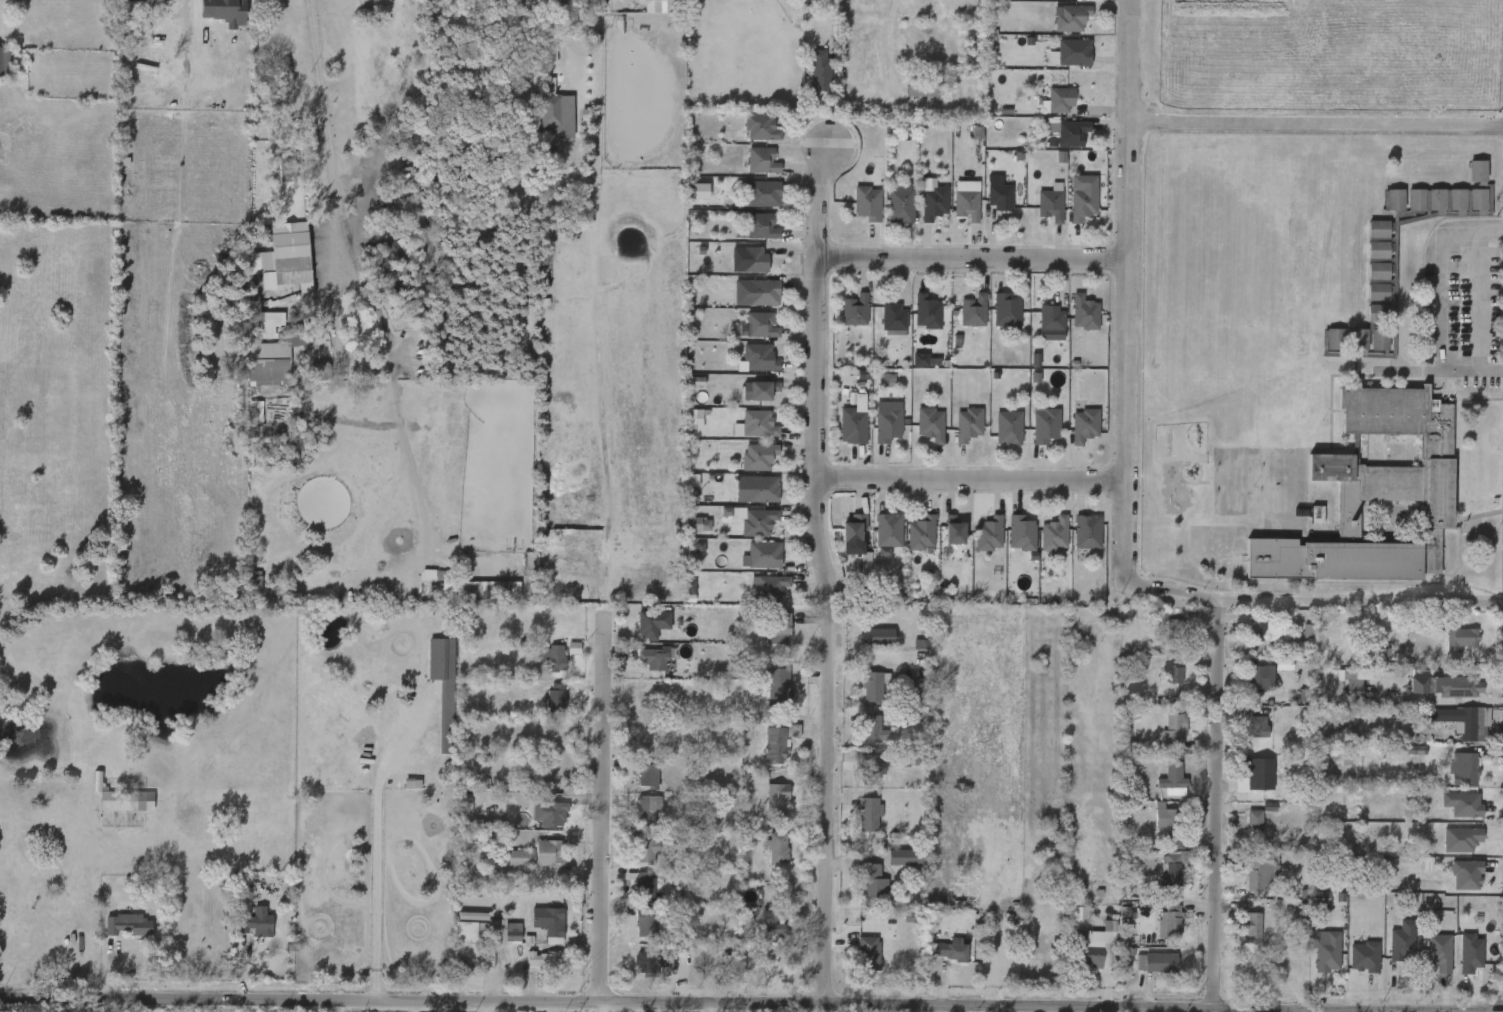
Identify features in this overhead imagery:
building: (737, 1)
building: (1052, 3)
building: (518, 8)
building: (1073, 18)
building: (1058, 27)
building: (150, 48)
building: (1075, 53)
building: (1061, 62)
building: (4, 64)
building: (821, 70)
road: (318, 75)
building: (806, 81)
building: (926, 87)
building: (909, 99)
building: (1062, 100)
building: (1047, 110)
building: (538, 117)
building: (762, 125)
road: (1314, 127)
building: (1070, 133)
building: (748, 137)
building: (1052, 143)
building: (760, 160)
building: (749, 171)
building: (1464, 181)
building: (759, 193)
building: (999, 196)
building: (869, 202)
building: (935, 202)
building: (985, 203)
building: (1085, 203)
building: (748, 204)
building: (965, 204)
building: (1052, 204)
building: (902, 205)
building: (1070, 207)
building: (953, 210)
building: (1380, 210)
building: (887, 212)
building: (855, 213)
building: (921, 213)
building: (1037, 215)
building: (760, 226)
building: (745, 237)
building: (1364, 239)
building: (752, 259)
road: (972, 260)
building: (1364, 260)
building: (382, 262)
building: (275, 269)
building: (736, 269)
building: (1364, 281)
road: (1127, 290)
building: (763, 291)
road: (1479, 298)
road: (1440, 299)
building: (749, 302)
building: (1364, 302)
building: (854, 310)
building: (972, 310)
building: (928, 312)
building: (1084, 312)
building: (1006, 313)
building: (892, 317)
building: (1049, 318)
building: (842, 320)
building: (960, 321)
building: (914, 322)
building: (993, 322)
building: (1071, 323)
building: (762, 324)
building: (1038, 333)
building: (310, 334)
building: (746, 335)
building: (1321, 349)
building: (761, 357)
road: (387, 361)
building: (262, 368)
building: (746, 368)
road: (1413, 368)
building: (308, 381)
building: (760, 390)
building: (684, 391)
building: (750, 400)
road: (607, 404)
building: (853, 421)
building: (757, 423)
building: (1044, 423)
building: (932, 424)
building: (968, 424)
building: (887, 425)
building: (1087, 425)
building: (1008, 428)
building: (841, 431)
building: (1384, 433)
building: (743, 434)
building: (917, 434)
building: (955, 434)
building: (1032, 435)
building: (1071, 435)
building: (995, 438)
building: (757, 456)
building: (746, 466)
road: (969, 481)
building: (757, 489)
building: (679, 490)
building: (744, 499)
building: (757, 522)
building: (695, 523)
building: (851, 529)
building: (887, 530)
building: (951, 531)
building: (745, 532)
building: (1086, 532)
building: (685, 534)
building: (920, 534)
building: (988, 534)
building: (1023, 534)
building: (1053, 534)
building: (941, 541)
building: (1074, 541)
building: (875, 543)
building: (908, 543)
building: (1008, 543)
building: (841, 544)
building: (976, 544)
building: (1041, 544)
building: (762, 553)
building: (749, 565)
building: (852, 573)
road: (824, 582)
building: (768, 587)
building: (756, 597)
building: (472, 599)
road: (1312, 601)
building: (651, 623)
building: (779, 629)
building: (1266, 629)
building: (639, 634)
building: (875, 637)
building: (764, 639)
building: (1254, 640)
building: (1457, 641)
building: (1294, 642)
building: (864, 646)
building: (1447, 649)
building: (555, 657)
building: (651, 658)
building: (541, 667)
building: (641, 668)
building: (1260, 674)
building: (1160, 684)
building: (776, 686)
building: (873, 686)
building: (1248, 687)
building: (1466, 687)
building: (764, 694)
building: (1339, 694)
building: (430, 696)
building: (861, 696)
building: (1434, 696)
building: (556, 698)
building: (543, 706)
building: (1256, 721)
building: (1467, 722)
building: (872, 730)
building: (1175, 731)
building: (1451, 731)
building: (1244, 736)
building: (864, 741)
building: (1160, 741)
building: (782, 742)
building: (1413, 747)
building: (766, 752)
building: (905, 758)
building: (872, 766)
building: (1464, 768)
building: (647, 773)
building: (1257, 773)
building: (860, 777)
building: (1172, 778)
building: (1450, 779)
building: (635, 783)
building: (1245, 783)
building: (1160, 790)
building: (120, 796)
building: (777, 800)
road: (1224, 804)
building: (1462, 804)
building: (643, 808)
building: (763, 809)
building: (114, 810)
road: (605, 811)
building: (550, 812)
building: (868, 813)
building: (1449, 814)
building: (1167, 816)
building: (635, 820)
building: (1253, 821)
building: (856, 823)
building: (536, 824)
building: (1150, 825)
building: (1241, 830)
building: (1460, 838)
building: (775, 844)
building: (645, 847)
building: (1448, 849)
road: (376, 852)
building: (1161, 852)
building: (548, 853)
building: (519, 857)
building: (764, 857)
building: (635, 861)
building: (537, 863)
building: (508, 867)
building: (892, 867)
building: (1176, 868)
building: (1255, 871)
building: (1412, 873)
building: (1466, 874)
building: (869, 875)
building: (1161, 877)
building: (1246, 882)
building: (1453, 884)
building: (643, 887)
building: (860, 891)
building: (631, 895)
building: (1310, 908)
building: (549, 920)
building: (1171, 921)
building: (255, 922)
building: (644, 924)
building: (770, 925)
building: (1252, 925)
building: (128, 926)
building: (1156, 931)
building: (632, 932)
building: (760, 932)
building: (244, 933)
building: (537, 933)
building: (115, 934)
building: (1240, 935)
building: (1402, 940)
building: (474, 941)
building: (1093, 949)
building: (952, 950)
building: (1389, 951)
building: (1438, 952)
building: (1470, 952)
building: (867, 953)
building: (1327, 953)
building: (1364, 957)
building: (936, 959)
building: (1313, 959)
building: (542, 961)
building: (1157, 961)
building: (651, 962)
building: (1426, 962)
building: (856, 963)
building: (1457, 963)
building: (1351, 966)
building: (531, 970)
building: (639, 971)
building: (1143, 972)
road: (699, 1005)
road: (484, 1007)
road: (597, 1007)
road: (1301, 1011)

